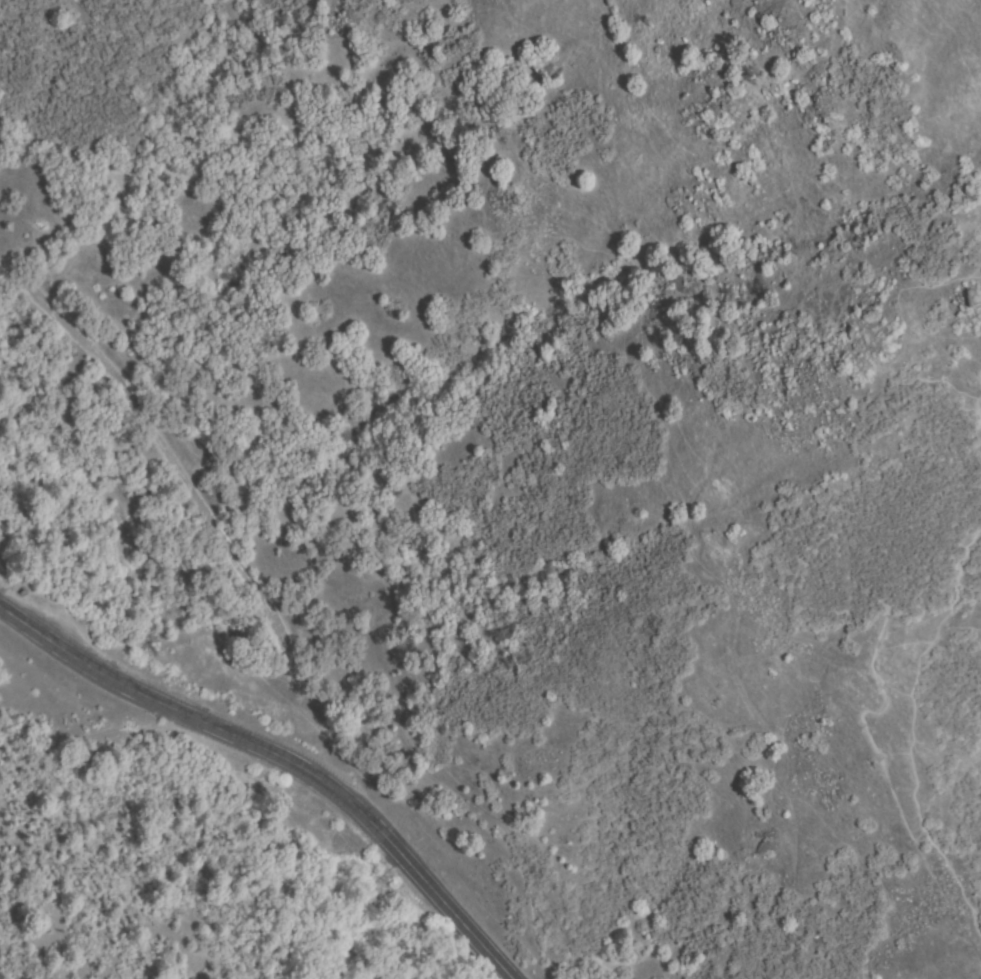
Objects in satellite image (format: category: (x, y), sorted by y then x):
road: (282, 758)

